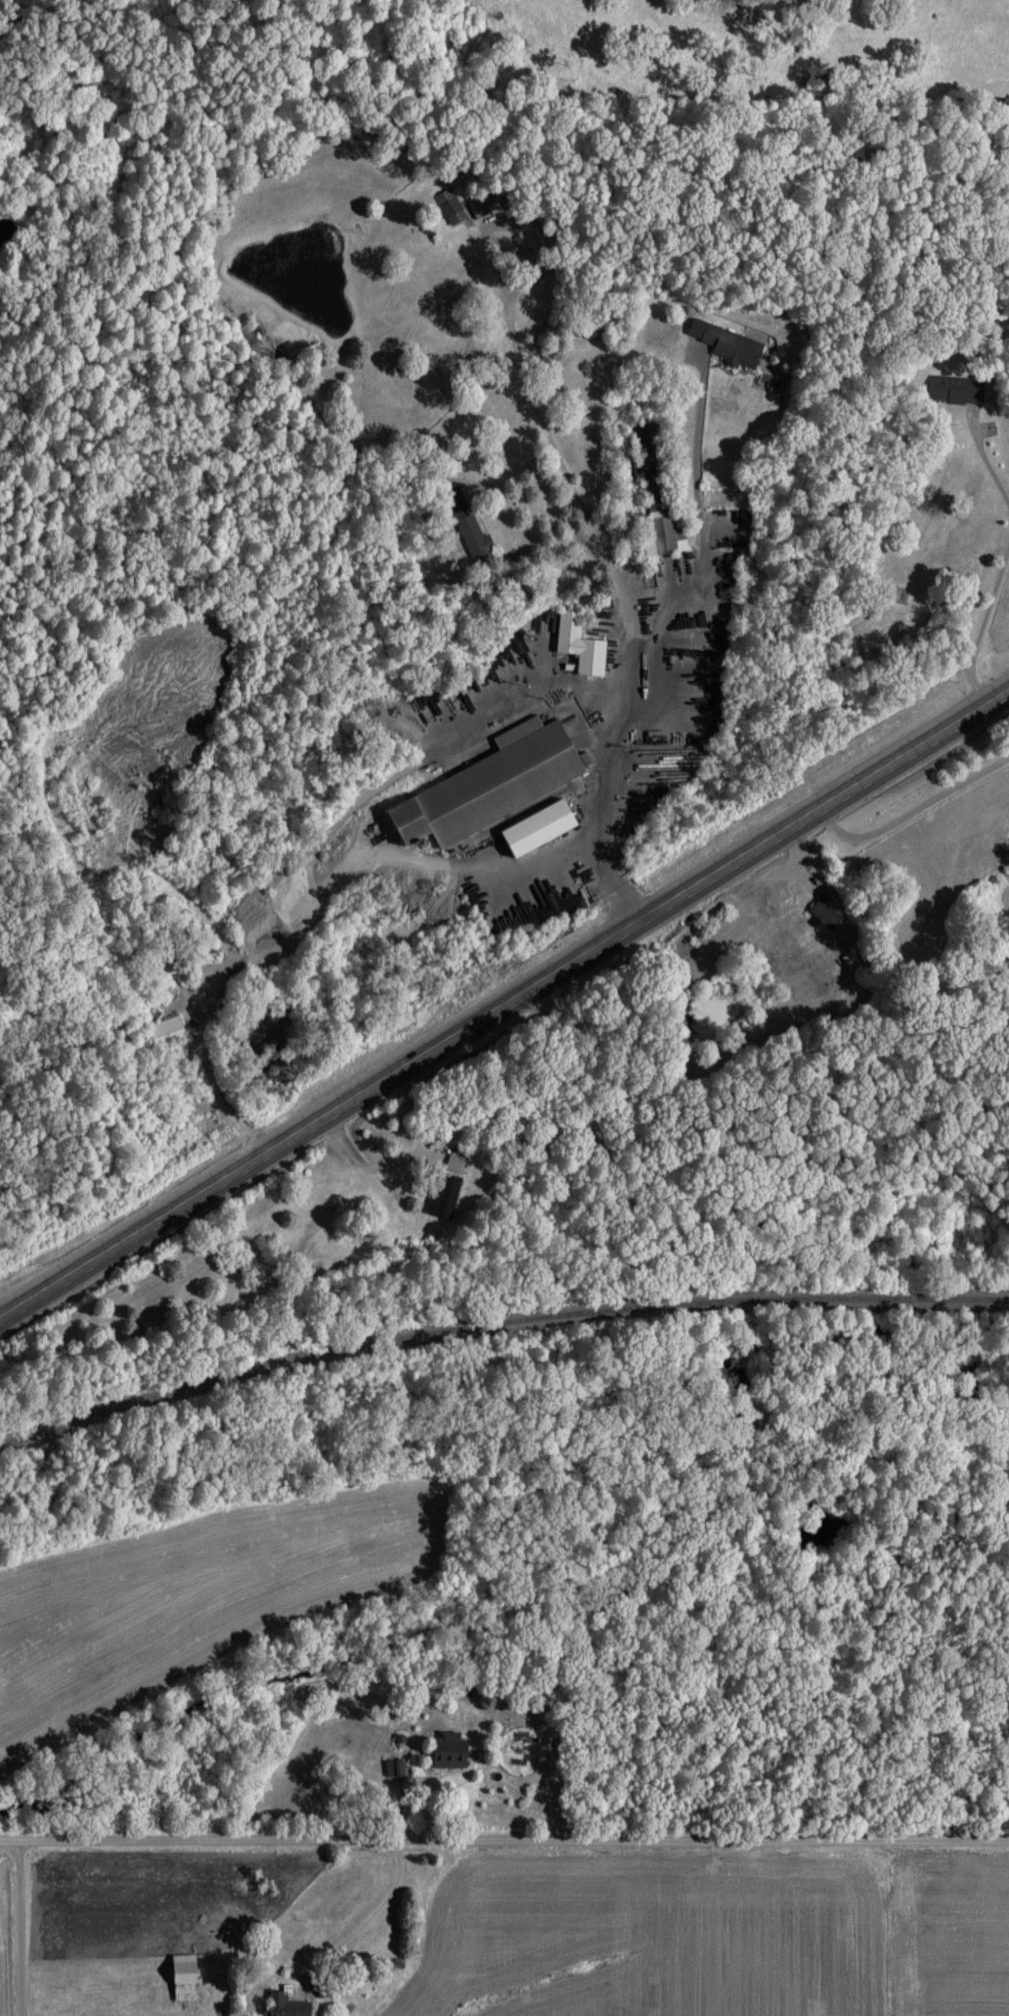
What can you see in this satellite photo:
building: (449, 205)
building: (478, 205)
building: (728, 343)
building: (954, 388)
building: (663, 531)
building: (475, 538)
building: (580, 643)
building: (486, 782)
building: (540, 827)
building: (826, 911)
road: (505, 999)
building: (167, 1029)
building: (443, 1195)
railway: (496, 1323)
building: (451, 1749)
building: (394, 1766)
road: (504, 1837)
road: (19, 1927)
building: (185, 1976)
building: (287, 2005)

